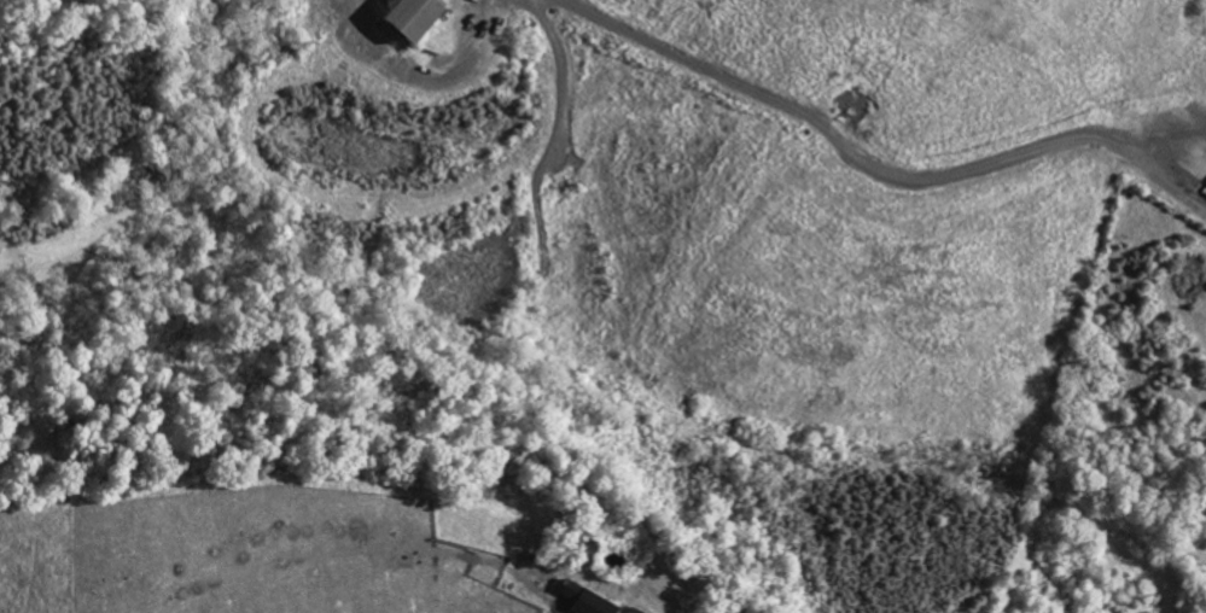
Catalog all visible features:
building: (401, 19)

